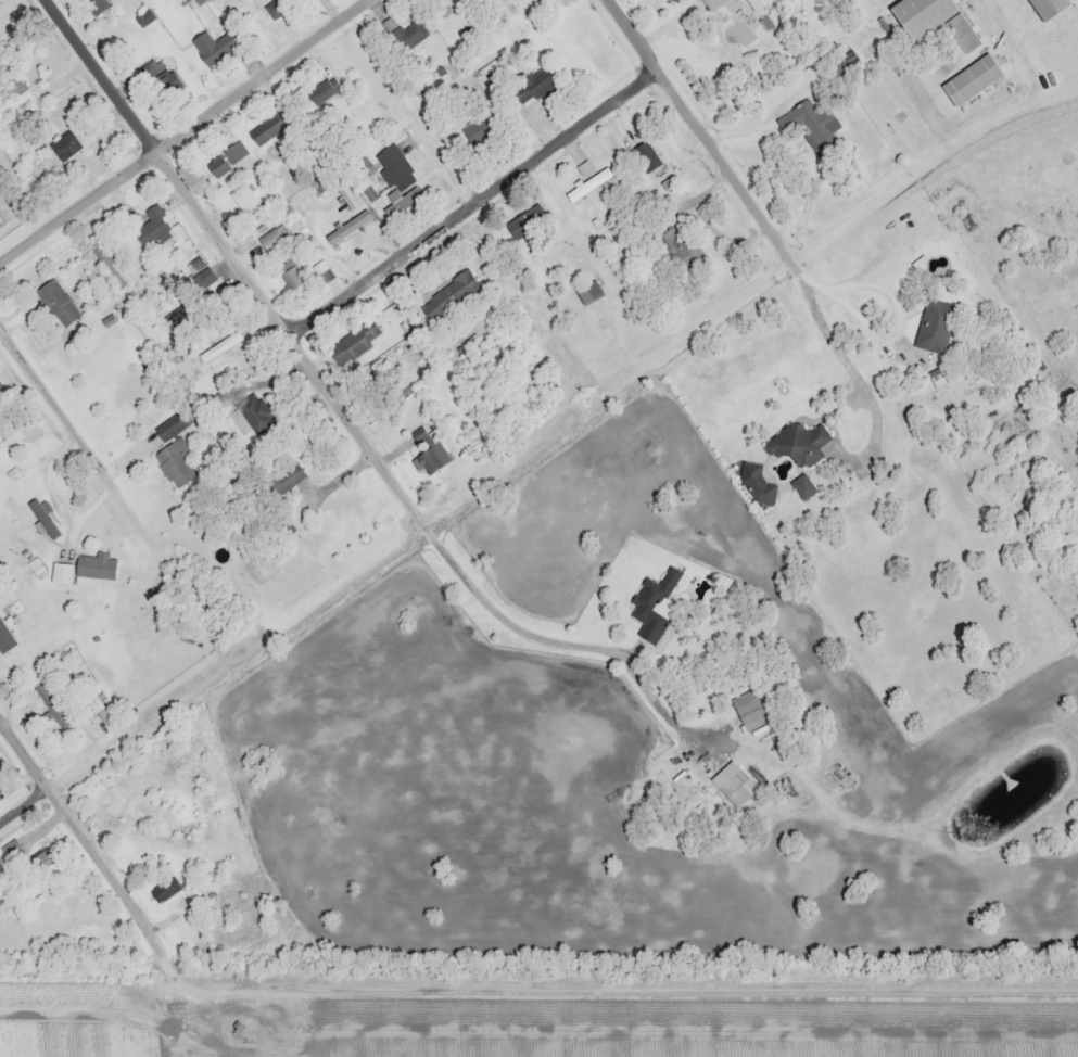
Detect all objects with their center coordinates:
building: (275, 7)
building: (1048, 7)
road: (338, 9)
building: (934, 20)
building: (741, 22)
building: (404, 33)
building: (212, 46)
building: (971, 79)
building: (167, 84)
building: (535, 84)
building: (321, 90)
building: (20, 97)
building: (268, 127)
building: (810, 127)
building: (475, 130)
road: (703, 132)
road: (185, 133)
building: (67, 143)
road: (436, 150)
building: (645, 150)
building: (225, 160)
building: (583, 167)
building: (396, 178)
building: (587, 183)
road: (475, 200)
road: (826, 211)
building: (525, 222)
building: (151, 228)
building: (345, 228)
building: (269, 240)
building: (680, 246)
road: (835, 262)
building: (324, 271)
building: (202, 277)
building: (292, 280)
building: (587, 292)
building: (447, 296)
building: (56, 303)
building: (934, 324)
building: (353, 342)
road: (317, 367)
road: (271, 377)
building: (250, 415)
building: (172, 423)
road: (77, 433)
building: (797, 444)
building: (428, 453)
building: (175, 462)
road: (306, 469)
building: (281, 480)
building: (801, 486)
building: (42, 518)
building: (93, 568)
building: (61, 571)
building: (651, 603)
road: (660, 614)
road: (657, 631)
building: (4, 637)
building: (92, 703)
building: (50, 705)
building: (748, 708)
road: (1064, 723)
road: (774, 727)
road: (1003, 756)
road: (60, 779)
building: (732, 781)
road: (1010, 840)
building: (11, 850)
road: (110, 856)
building: (40, 859)
building: (163, 888)

